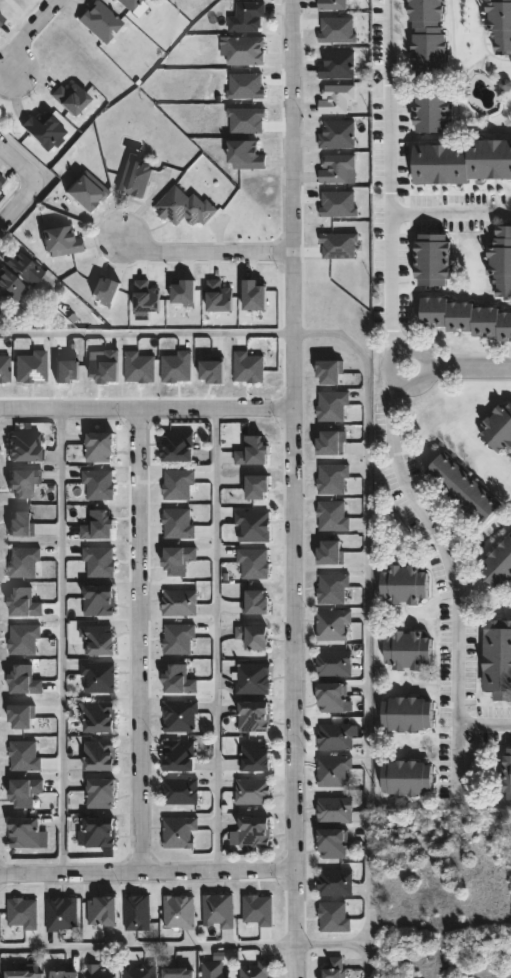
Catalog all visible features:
building: (130, 4)
building: (333, 5)
building: (247, 17)
building: (0, 19)
building: (100, 22)
building: (500, 23)
building: (337, 30)
road: (26, 34)
building: (428, 37)
building: (247, 51)
building: (339, 65)
building: (245, 86)
building: (70, 99)
building: (337, 99)
building: (431, 112)
building: (246, 120)
building: (43, 131)
building: (338, 134)
building: (246, 155)
building: (461, 161)
building: (337, 168)
road: (390, 175)
building: (136, 179)
building: (2, 181)
road: (31, 192)
building: (86, 192)
building: (338, 204)
building: (185, 208)
road: (289, 209)
road: (450, 215)
building: (61, 242)
building: (339, 245)
road: (204, 249)
building: (435, 261)
building: (502, 261)
building: (25, 269)
building: (11, 285)
building: (106, 291)
building: (184, 293)
building: (218, 296)
building: (254, 296)
building: (145, 299)
building: (467, 319)
road: (143, 333)
building: (106, 367)
building: (139, 367)
building: (177, 367)
building: (248, 367)
road: (387, 367)
building: (31, 368)
building: (4, 369)
building: (67, 369)
road: (470, 369)
building: (212, 371)
building: (330, 372)
building: (332, 405)
building: (498, 427)
building: (330, 443)
building: (24, 445)
building: (100, 445)
building: (179, 446)
building: (253, 452)
building: (332, 478)
building: (24, 483)
building: (99, 484)
building: (178, 484)
building: (255, 486)
building: (464, 487)
building: (332, 516)
building: (21, 524)
building: (178, 524)
building: (98, 526)
building: (253, 526)
road: (293, 552)
building: (331, 553)
building: (178, 560)
building: (99, 561)
building: (23, 562)
building: (254, 563)
building: (499, 564)
building: (406, 583)
road: (459, 583)
building: (333, 588)
building: (99, 600)
building: (180, 602)
building: (256, 603)
building: (24, 604)
road: (367, 624)
building: (334, 625)
building: (254, 636)
building: (99, 638)
building: (23, 639)
building: (178, 639)
road: (215, 641)
road: (138, 642)
road: (60, 643)
building: (407, 649)
building: (498, 658)
building: (334, 663)
building: (98, 676)
building: (254, 678)
building: (179, 680)
building: (25, 681)
building: (333, 696)
building: (406, 713)
building: (180, 715)
building: (255, 715)
building: (100, 716)
building: (22, 717)
road: (489, 730)
building: (335, 736)
building: (101, 754)
building: (180, 755)
building: (256, 755)
building: (24, 756)
building: (335, 770)
building: (508, 772)
building: (405, 777)
building: (181, 790)
building: (253, 790)
building: (25, 791)
building: (101, 792)
building: (336, 809)
building: (25, 831)
building: (180, 831)
building: (253, 831)
building: (98, 832)
building: (334, 843)
road: (148, 876)
building: (336, 882)
building: (218, 909)
building: (103, 910)
building: (258, 910)
building: (180, 911)
building: (138, 912)
building: (23, 913)
building: (62, 913)
building: (334, 917)
road: (333, 942)
road: (149, 945)
building: (335, 967)
building: (216, 969)
building: (256, 970)
building: (103, 971)
building: (141, 971)
building: (180, 972)
building: (23, 973)
building: (64, 974)

